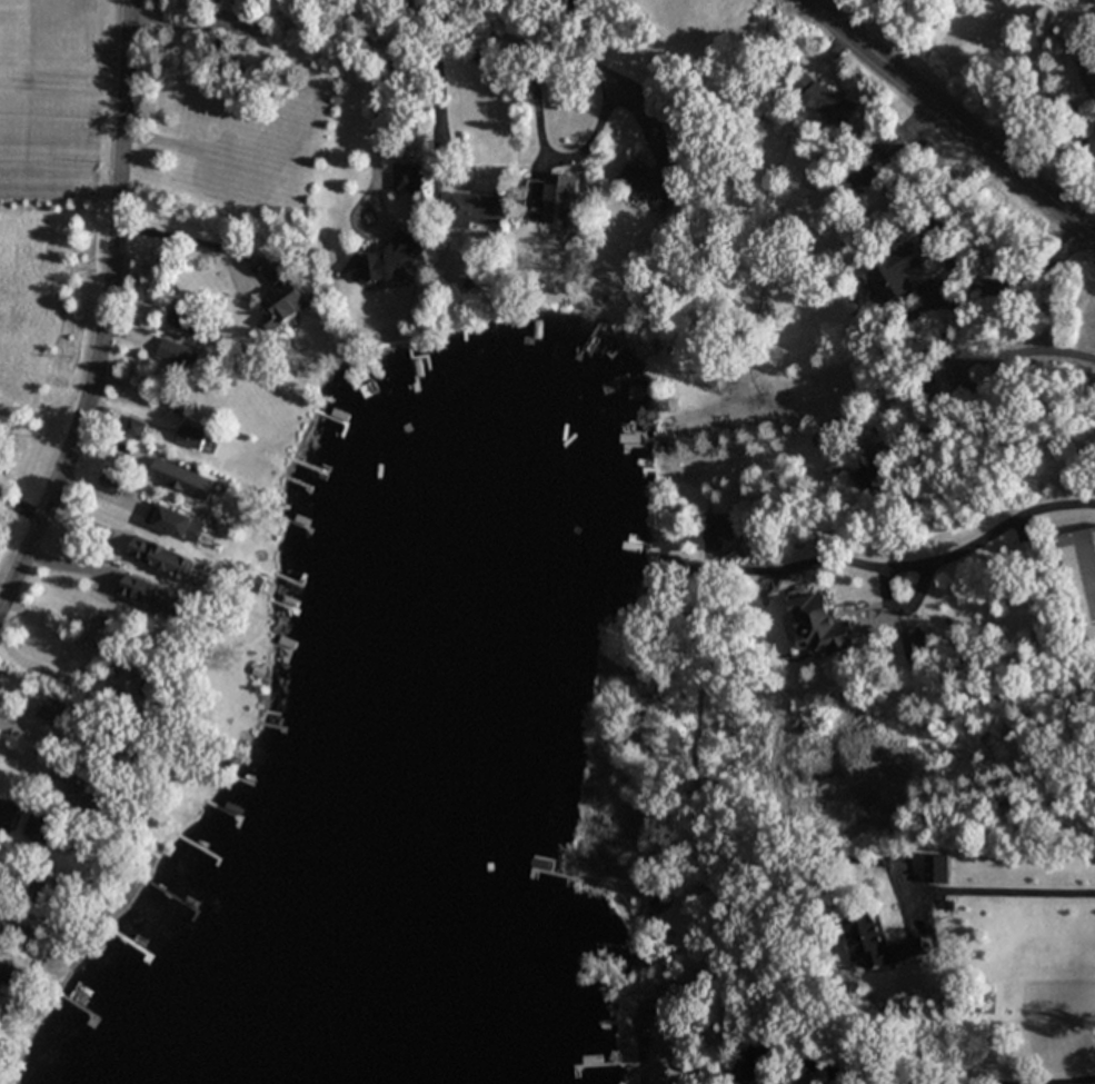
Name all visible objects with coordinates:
road: (472, 22)
road: (190, 24)
road: (561, 50)
building: (1086, 67)
road: (437, 88)
building: (830, 101)
road: (378, 106)
road: (950, 119)
building: (877, 156)
road: (559, 158)
building: (231, 171)
building: (406, 179)
building: (654, 179)
building: (550, 199)
building: (477, 207)
road: (193, 235)
building: (382, 261)
building: (893, 274)
road: (1016, 292)
building: (283, 296)
road: (108, 317)
building: (187, 318)
building: (179, 354)
road: (1032, 355)
building: (135, 427)
building: (192, 436)
building: (867, 475)
building: (182, 478)
building: (110, 481)
building: (177, 521)
road: (1006, 525)
building: (716, 529)
building: (1028, 557)
building: (168, 559)
building: (1082, 580)
building: (156, 596)
road: (884, 596)
building: (819, 625)
building: (101, 631)
building: (913, 645)
road: (88, 663)
building: (132, 675)
building: (53, 712)
building: (858, 722)
road: (26, 759)
building: (823, 766)
building: (82, 790)
building: (8, 812)
building: (44, 829)
building: (935, 867)
road: (10, 879)
building: (44, 885)
building: (657, 903)
road: (1004, 905)
building: (878, 941)
building: (756, 1065)

